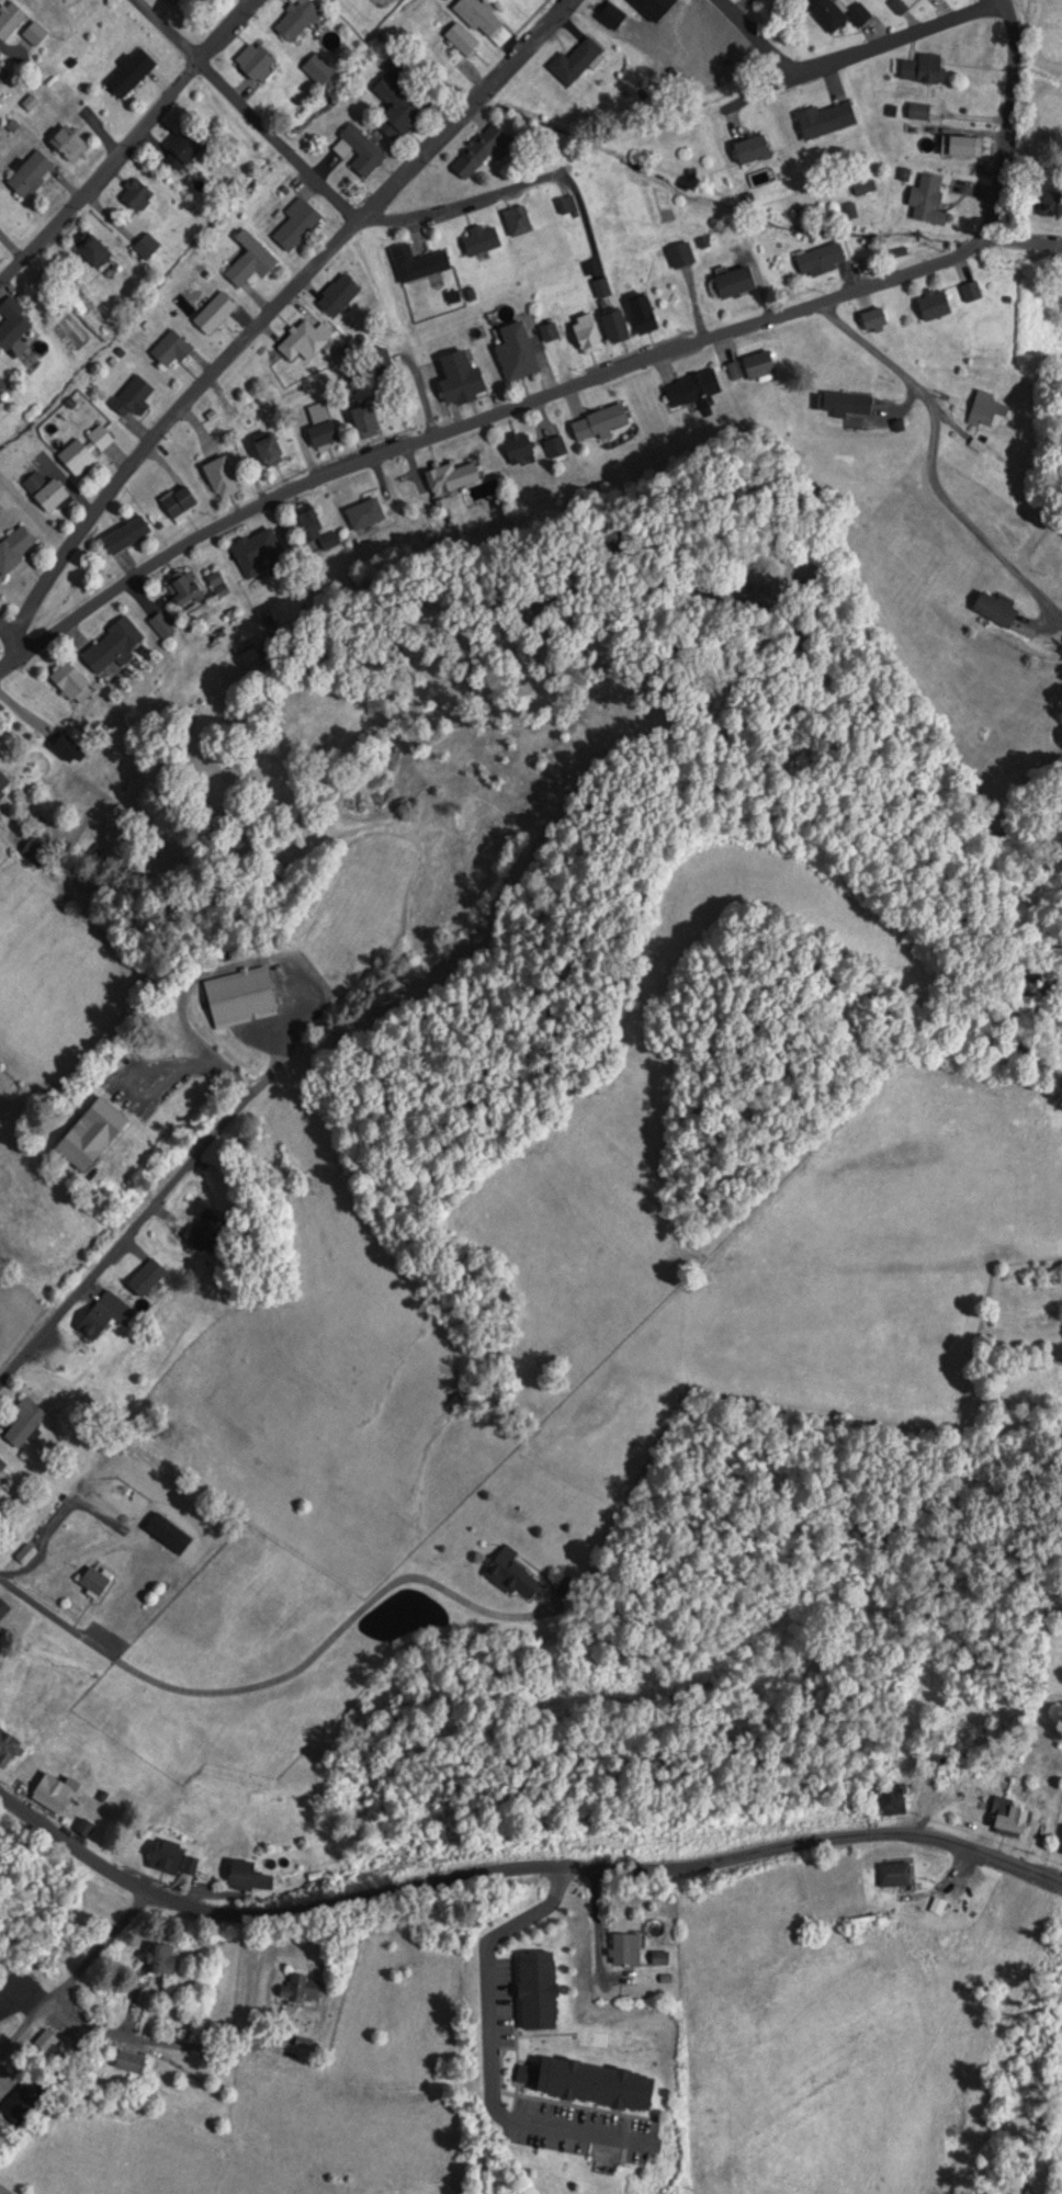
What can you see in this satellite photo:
building: (172, 1)
building: (835, 13)
building: (477, 16)
building: (294, 18)
building: (10, 19)
building: (33, 33)
building: (460, 38)
road: (752, 44)
road: (896, 50)
building: (255, 60)
building: (574, 60)
building: (318, 68)
building: (927, 68)
building: (128, 71)
building: (394, 108)
road: (247, 109)
building: (824, 120)
road: (1007, 121)
road: (127, 138)
building: (69, 143)
building: (962, 145)
building: (488, 146)
building: (181, 148)
building: (750, 148)
building: (357, 150)
building: (30, 172)
building: (136, 194)
building: (927, 200)
building: (565, 203)
building: (1050, 203)
road: (460, 204)
building: (516, 219)
building: (295, 224)
building: (478, 239)
building: (143, 248)
building: (92, 249)
building: (679, 255)
building: (820, 259)
building: (249, 260)
building: (417, 263)
building: (733, 282)
building: (601, 287)
building: (969, 291)
building: (337, 294)
building: (931, 304)
road: (270, 310)
building: (213, 313)
building: (641, 314)
building: (872, 318)
building: (12, 323)
building: (613, 325)
building: (549, 331)
building: (585, 333)
building: (302, 340)
building: (169, 349)
building: (515, 352)
building: (757, 364)
building: (733, 371)
building: (459, 378)
building: (2, 385)
building: (689, 389)
building: (134, 397)
road: (512, 399)
road: (418, 403)
building: (846, 404)
building: (982, 409)
building: (363, 421)
building: (598, 421)
building: (319, 426)
building: (86, 449)
building: (267, 449)
building: (518, 449)
road: (931, 464)
building: (454, 475)
building: (219, 477)
building: (44, 490)
building: (178, 501)
building: (364, 514)
building: (312, 530)
building: (125, 534)
building: (14, 547)
building: (259, 553)
building: (182, 589)
building: (994, 609)
building: (160, 625)
road: (3, 645)
building: (111, 646)
building: (70, 682)
building: (66, 749)
building: (3, 779)
building: (238, 996)
building: (90, 1134)
road: (136, 1223)
building: (145, 1278)
building: (102, 1315)
building: (23, 1422)
building: (1, 1466)
building: (0, 1479)
building: (510, 1572)
building: (92, 1581)
building: (2, 1607)
road: (281, 1677)
building: (7, 1746)
building: (52, 1792)
building: (891, 1798)
building: (1008, 1816)
building: (1061, 1852)
building: (166, 1856)
road: (519, 1866)
building: (893, 1873)
building: (246, 1876)
building: (624, 1948)
building: (159, 1958)
building: (659, 1958)
road: (72, 1972)
building: (298, 1987)
building: (536, 1990)
road: (159, 2045)
road: (489, 2046)
building: (128, 2062)
building: (583, 2082)
road: (3, 2190)

